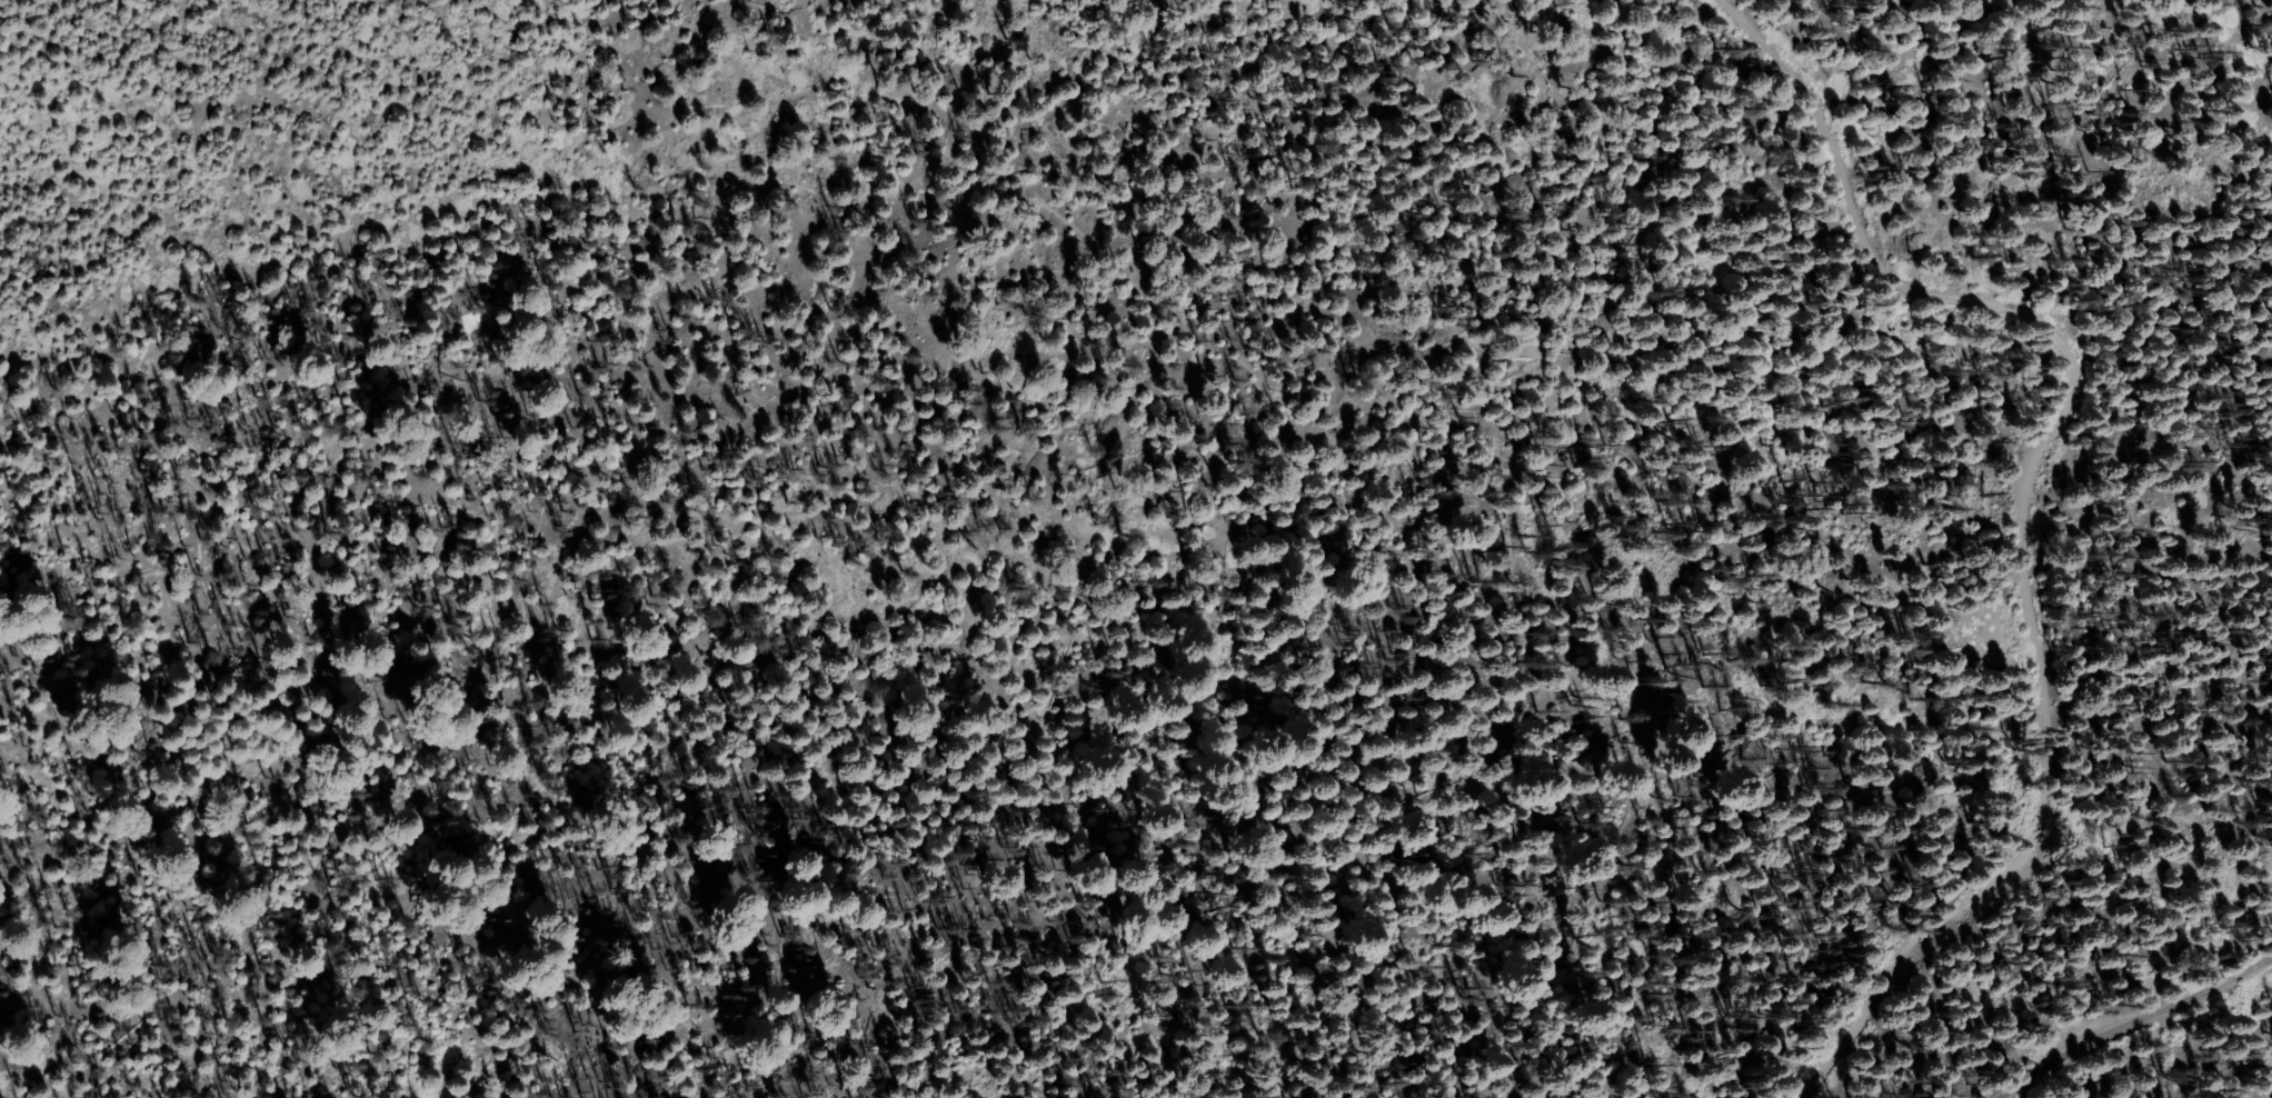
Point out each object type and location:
road: (2030, 512)
road: (2138, 1021)

